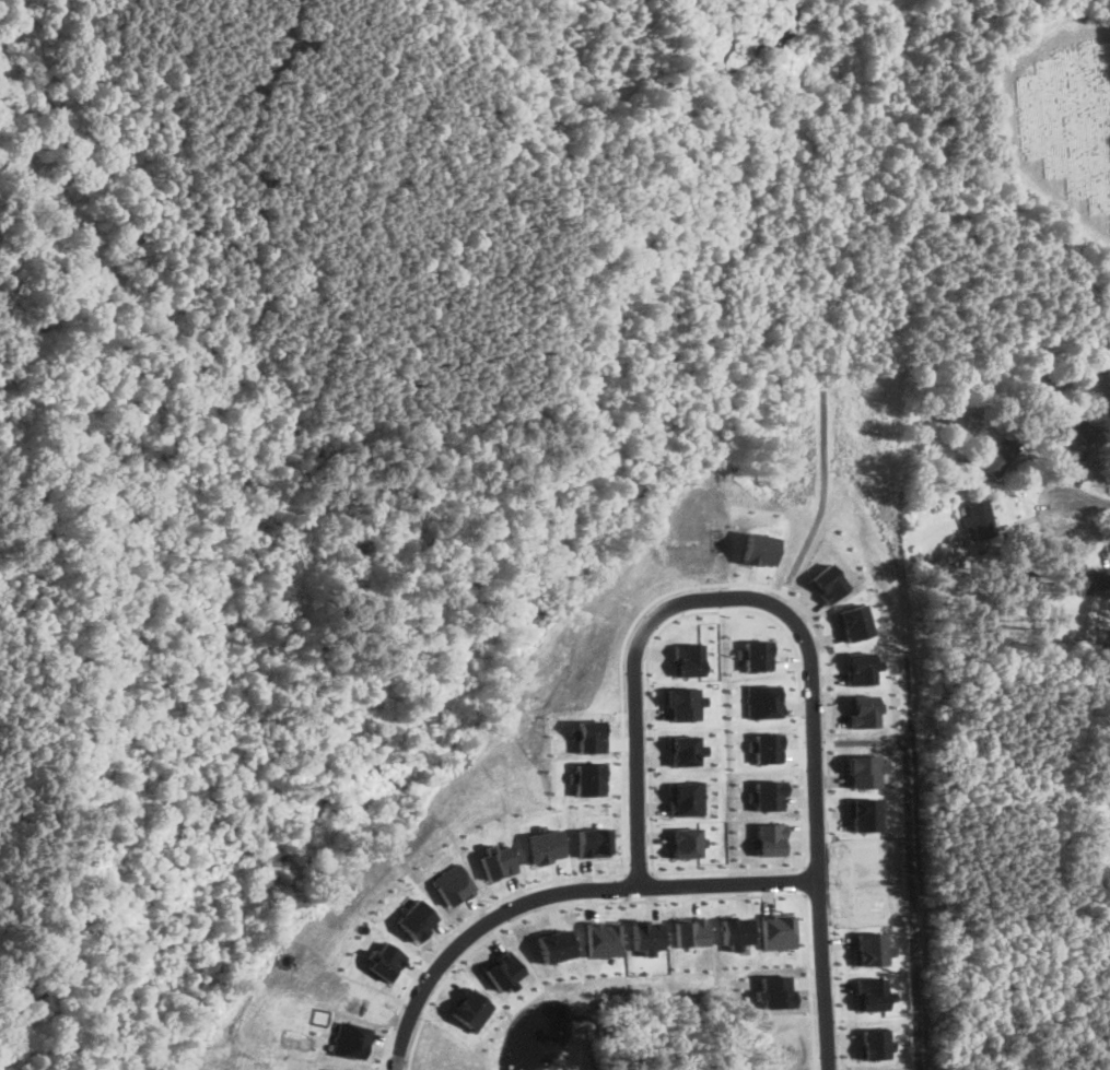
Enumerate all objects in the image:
building: (1073, 431)
building: (998, 457)
road: (1089, 503)
building: (977, 519)
building: (759, 549)
building: (1012, 574)
building: (1091, 579)
building: (826, 581)
road: (716, 599)
building: (856, 609)
building: (751, 640)
building: (686, 659)
building: (862, 661)
building: (761, 689)
building: (863, 701)
building: (682, 703)
road: (646, 716)
building: (763, 736)
building: (683, 750)
building: (863, 757)
building: (767, 783)
building: (687, 798)
building: (866, 802)
building: (769, 827)
building: (688, 842)
building: (544, 844)
building: (496, 861)
road: (804, 862)
road: (778, 867)
road: (807, 878)
building: (451, 883)
road: (560, 892)
road: (624, 901)
building: (691, 930)
building: (779, 930)
building: (736, 931)
building: (645, 934)
building: (603, 938)
building: (554, 944)
building: (872, 948)
building: (383, 960)
building: (502, 969)
road: (825, 973)
road: (809, 981)
building: (773, 990)
building: (872, 993)
building: (469, 1009)
road: (395, 1012)
building: (349, 1039)
building: (876, 1042)
road: (840, 1045)
building: (331, 1069)

